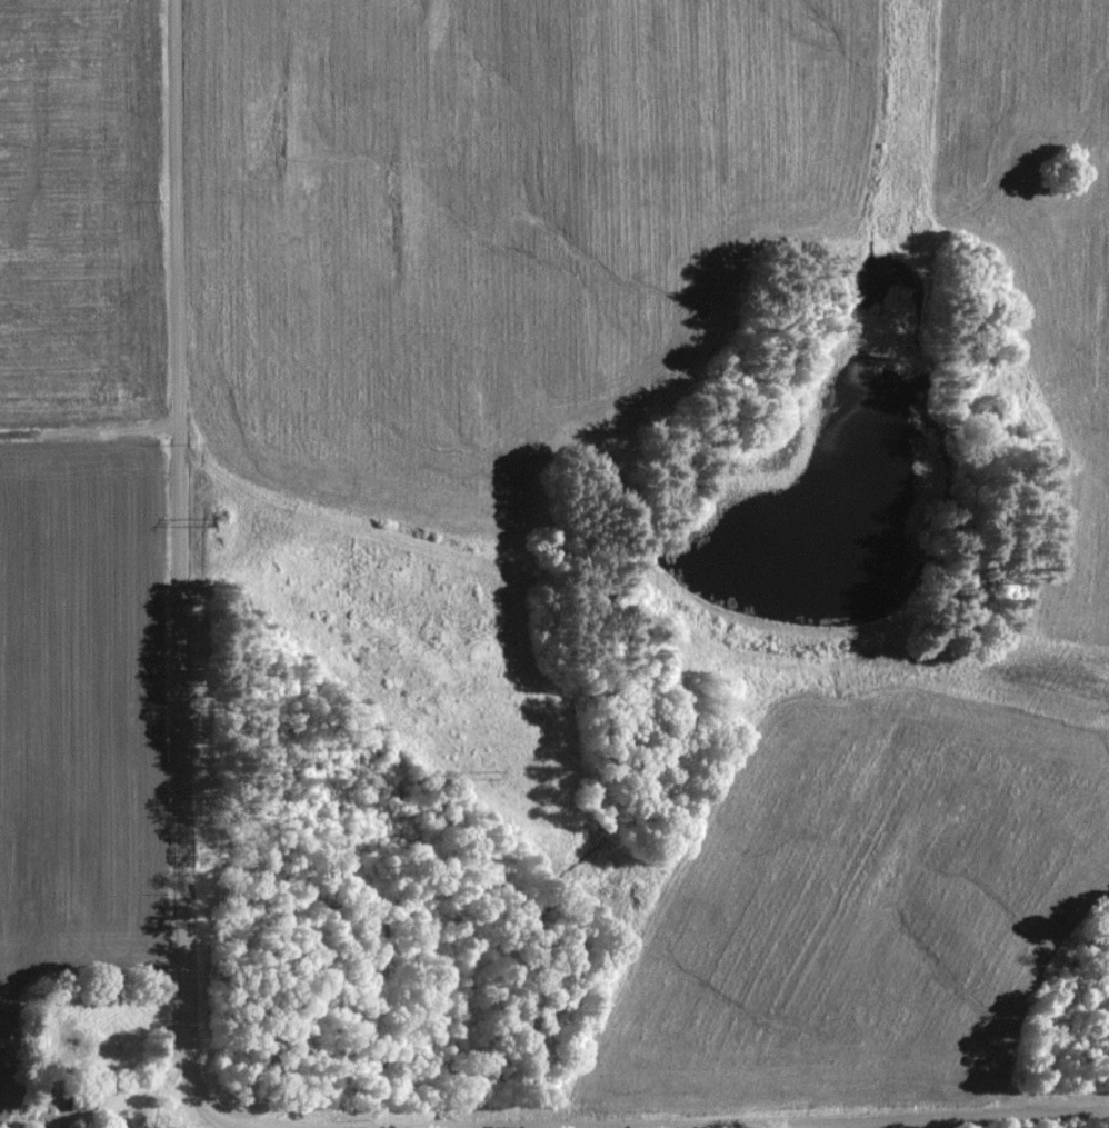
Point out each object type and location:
road: (180, 569)
building: (82, 1100)
road: (668, 1125)

